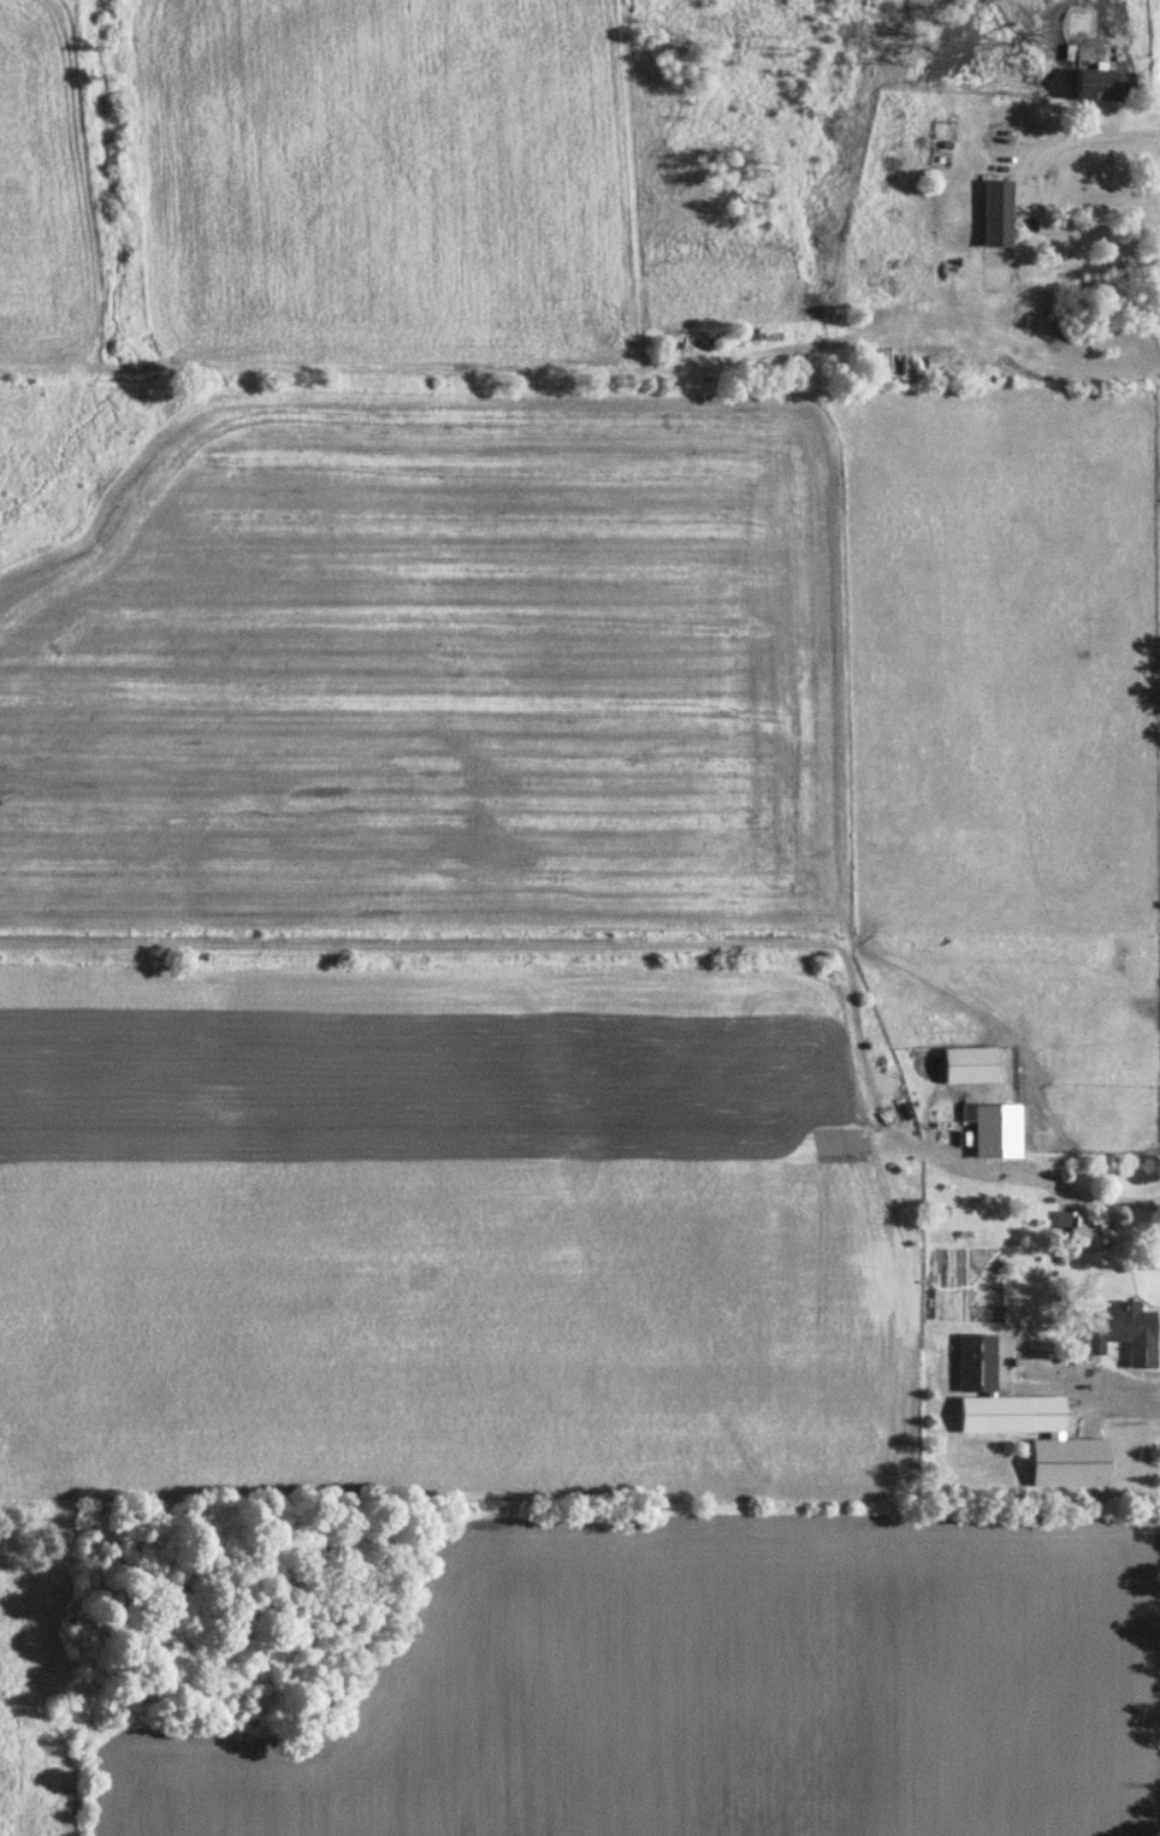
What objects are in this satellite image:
building: (1096, 87)
road: (1023, 184)
building: (994, 215)
building: (966, 1062)
building: (994, 1129)
road: (1044, 1180)
building: (1073, 1231)
building: (1124, 1329)
road: (1113, 1382)
building: (984, 1387)

